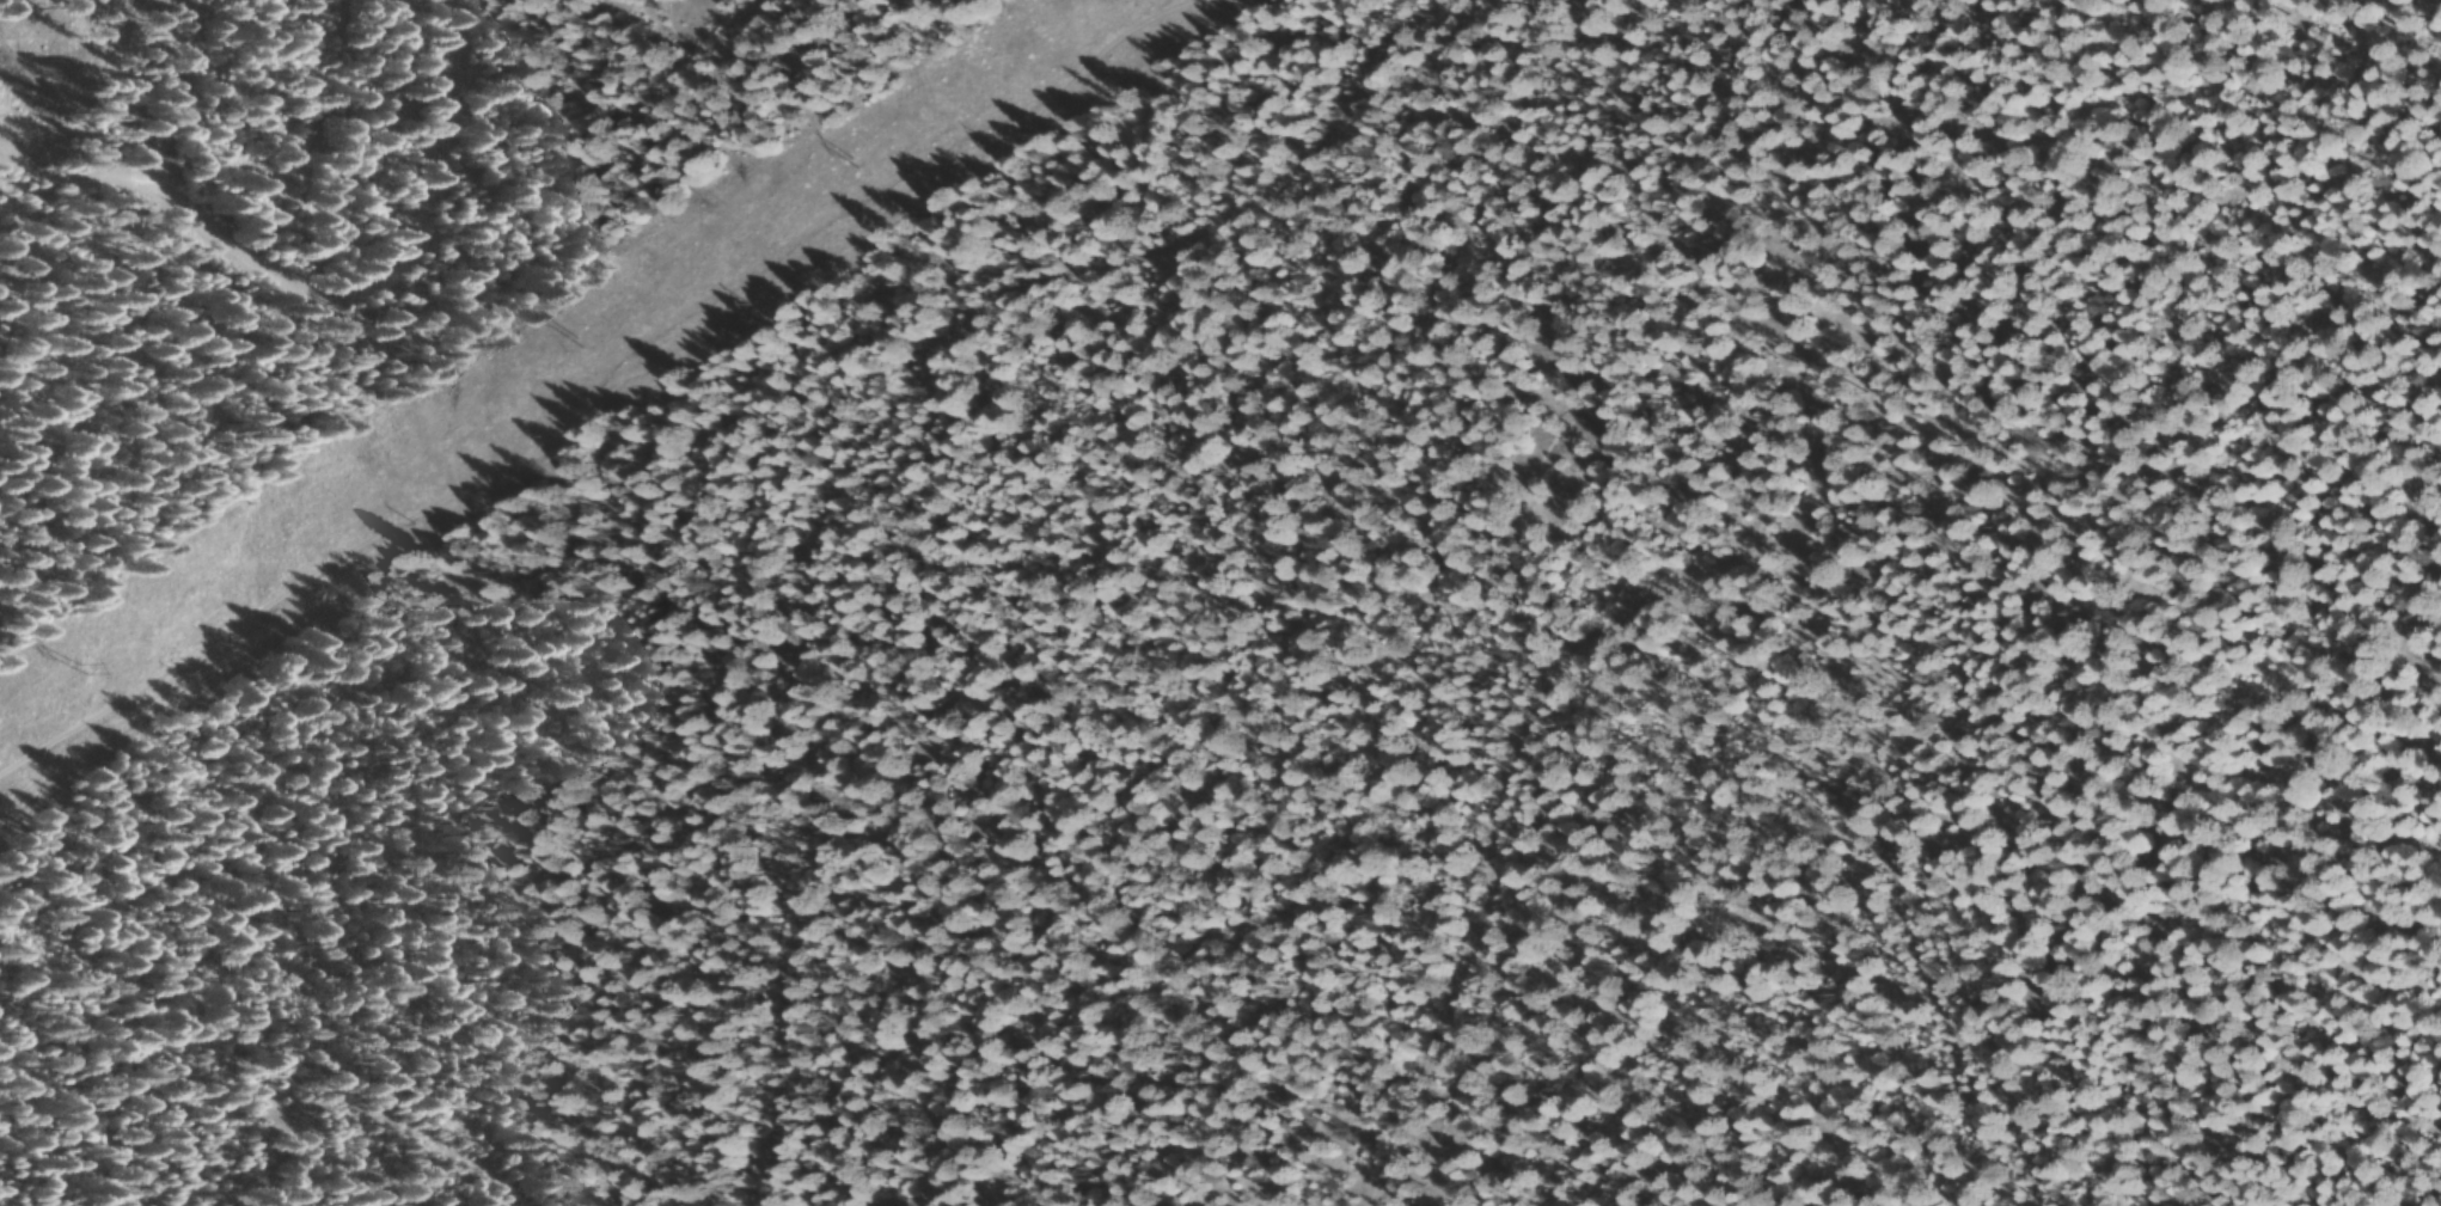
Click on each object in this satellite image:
power tower: (857, 166)
road: (290, 273)
power tower: (576, 341)
road: (879, 486)
road: (1706, 600)
power tower: (88, 669)
road: (237, 1119)

